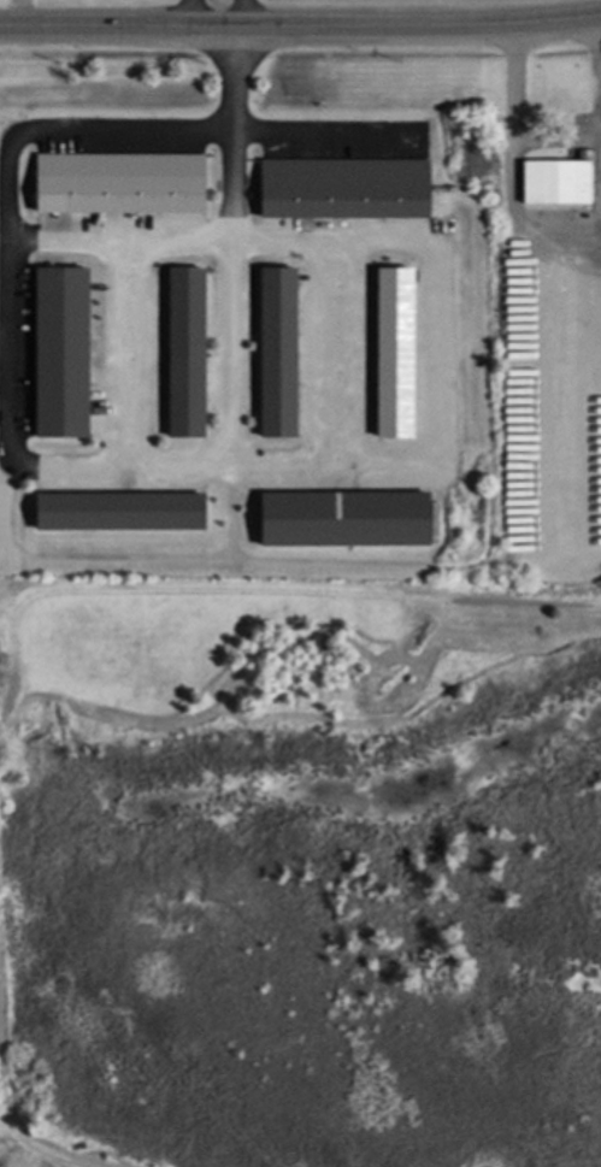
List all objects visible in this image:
road: (300, 28)
road: (597, 72)
road: (511, 172)
building: (554, 181)
building: (118, 185)
building: (342, 188)
road: (120, 226)
road: (231, 341)
building: (277, 349)
building: (393, 349)
building: (184, 350)
building: (59, 352)
road: (567, 415)
road: (270, 453)
building: (117, 511)
building: (330, 515)
road: (234, 589)
road: (5, 1118)
road: (49, 1136)

